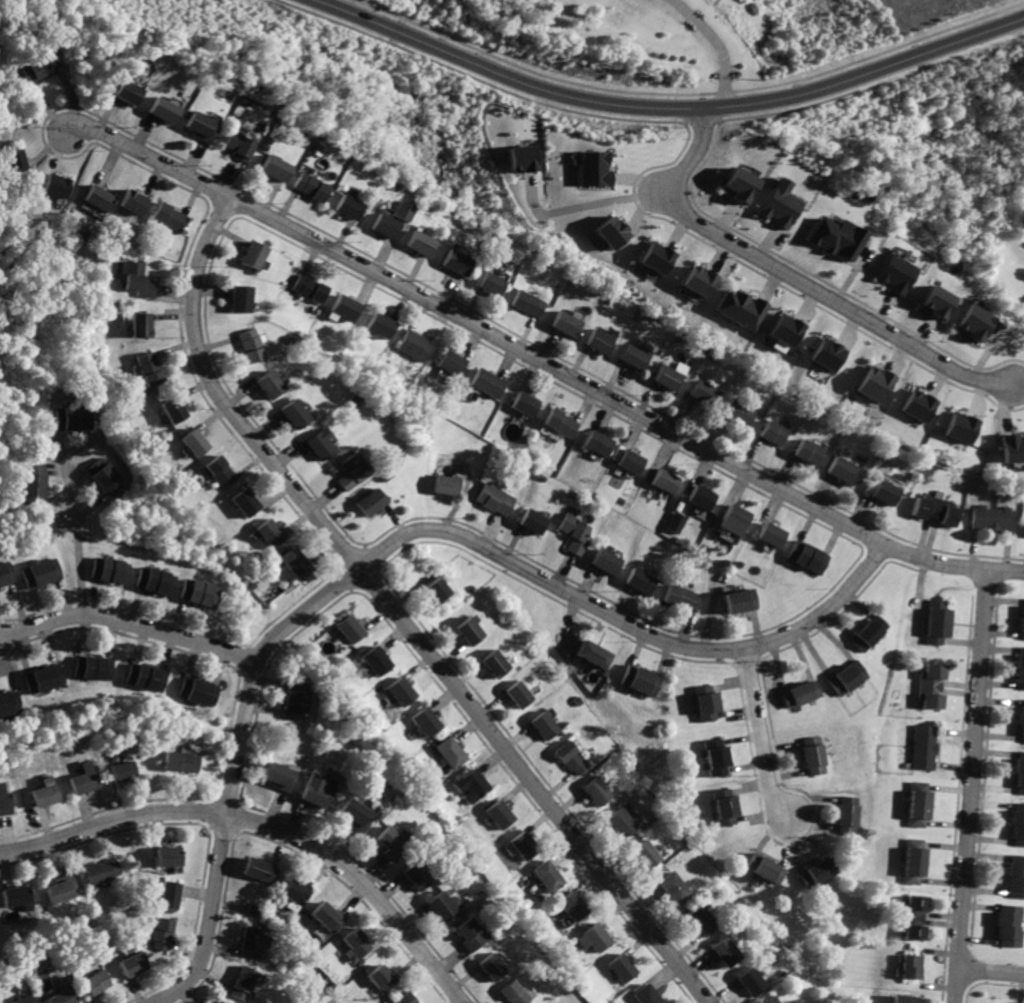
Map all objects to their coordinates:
road: (714, 45)
building: (39, 66)
building: (129, 92)
road: (669, 109)
building: (165, 110)
building: (202, 128)
building: (238, 146)
road: (692, 157)
building: (525, 158)
building: (15, 161)
building: (274, 168)
building: (596, 168)
building: (56, 185)
building: (738, 185)
building: (308, 188)
building: (99, 197)
building: (136, 201)
building: (776, 203)
road: (582, 205)
building: (345, 206)
building: (401, 210)
building: (171, 216)
building: (383, 225)
building: (612, 231)
building: (832, 236)
building: (417, 243)
building: (251, 255)
building: (657, 256)
building: (455, 263)
building: (892, 273)
building: (138, 279)
building: (700, 280)
building: (490, 284)
building: (306, 289)
building: (239, 298)
road: (833, 300)
building: (933, 300)
building: (529, 302)
building: (343, 308)
building: (741, 308)
building: (567, 322)
building: (972, 322)
building: (143, 325)
building: (377, 326)
building: (786, 329)
building: (600, 341)
building: (249, 345)
building: (410, 345)
building: (826, 352)
building: (636, 355)
road: (542, 362)
building: (447, 363)
building: (152, 370)
building: (669, 376)
building: (484, 382)
building: (873, 382)
building: (268, 384)
building: (704, 393)
building: (524, 404)
building: (916, 404)
building: (176, 410)
building: (740, 413)
building: (293, 414)
building: (73, 418)
building: (558, 424)
building: (960, 426)
building: (774, 432)
road: (62, 442)
building: (197, 442)
building: (598, 442)
building: (317, 443)
road: (81, 445)
building: (1011, 446)
building: (810, 451)
building: (630, 460)
road: (55, 471)
building: (219, 471)
building: (845, 471)
building: (350, 472)
building: (104, 477)
road: (78, 479)
building: (667, 482)
building: (32, 483)
building: (441, 485)
building: (884, 488)
building: (702, 497)
road: (57, 500)
building: (495, 500)
building: (368, 501)
building: (247, 502)
road: (89, 507)
building: (936, 509)
building: (994, 518)
building: (736, 519)
building: (534, 521)
building: (677, 522)
road: (76, 534)
building: (271, 534)
building: (576, 534)
building: (772, 534)
road: (398, 538)
building: (809, 557)
building: (607, 562)
building: (294, 564)
building: (109, 571)
building: (40, 573)
building: (5, 574)
building: (643, 581)
building: (155, 582)
building: (435, 591)
building: (199, 594)
building: (681, 597)
building: (741, 602)
road: (397, 618)
road: (129, 623)
building: (1022, 624)
building: (937, 626)
building: (347, 630)
building: (466, 633)
building: (870, 634)
building: (592, 656)
building: (375, 661)
building: (493, 664)
building: (92, 668)
building: (1021, 669)
building: (145, 678)
building: (43, 679)
building: (847, 679)
building: (642, 682)
building: (932, 686)
building: (197, 692)
building: (398, 692)
building: (516, 695)
building: (803, 695)
building: (296, 700)
building: (10, 702)
building: (706, 704)
building: (424, 723)
building: (1022, 723)
building: (542, 725)
road: (762, 737)
building: (924, 747)
building: (449, 752)
building: (815, 756)
building: (716, 757)
building: (570, 758)
building: (181, 763)
building: (124, 772)
building: (1020, 773)
building: (279, 778)
building: (85, 783)
building: (471, 785)
road: (972, 786)
building: (316, 791)
building: (597, 793)
building: (46, 796)
building: (7, 804)
building: (918, 808)
building: (722, 809)
building: (497, 815)
building: (849, 815)
building: (355, 817)
building: (621, 823)
road: (264, 825)
building: (1017, 825)
building: (389, 844)
building: (522, 848)
building: (646, 855)
building: (168, 856)
building: (913, 862)
building: (766, 869)
building: (261, 871)
building: (102, 872)
building: (819, 872)
building: (547, 876)
building: (416, 877)
building: (1016, 877)
building: (673, 888)
building: (62, 889)
building: (294, 892)
building: (168, 895)
building: (14, 897)
building: (572, 906)
building: (442, 907)
building: (326, 918)
building: (912, 919)
building: (700, 921)
building: (1009, 926)
building: (161, 934)
building: (470, 935)
building: (593, 938)
building: (251, 941)
building: (356, 944)
building: (723, 952)
building: (133, 966)
building: (491, 967)
building: (911, 967)
building: (620, 968)
road: (991, 971)
building: (382, 978)
building: (750, 982)
building: (94, 983)
building: (244, 985)
building: (514, 993)
building: (644, 994)
building: (63, 998)
building: (404, 999)
building: (906, 999)
building: (25, 1000)
building: (769, 1001)
building: (219, 1002)

